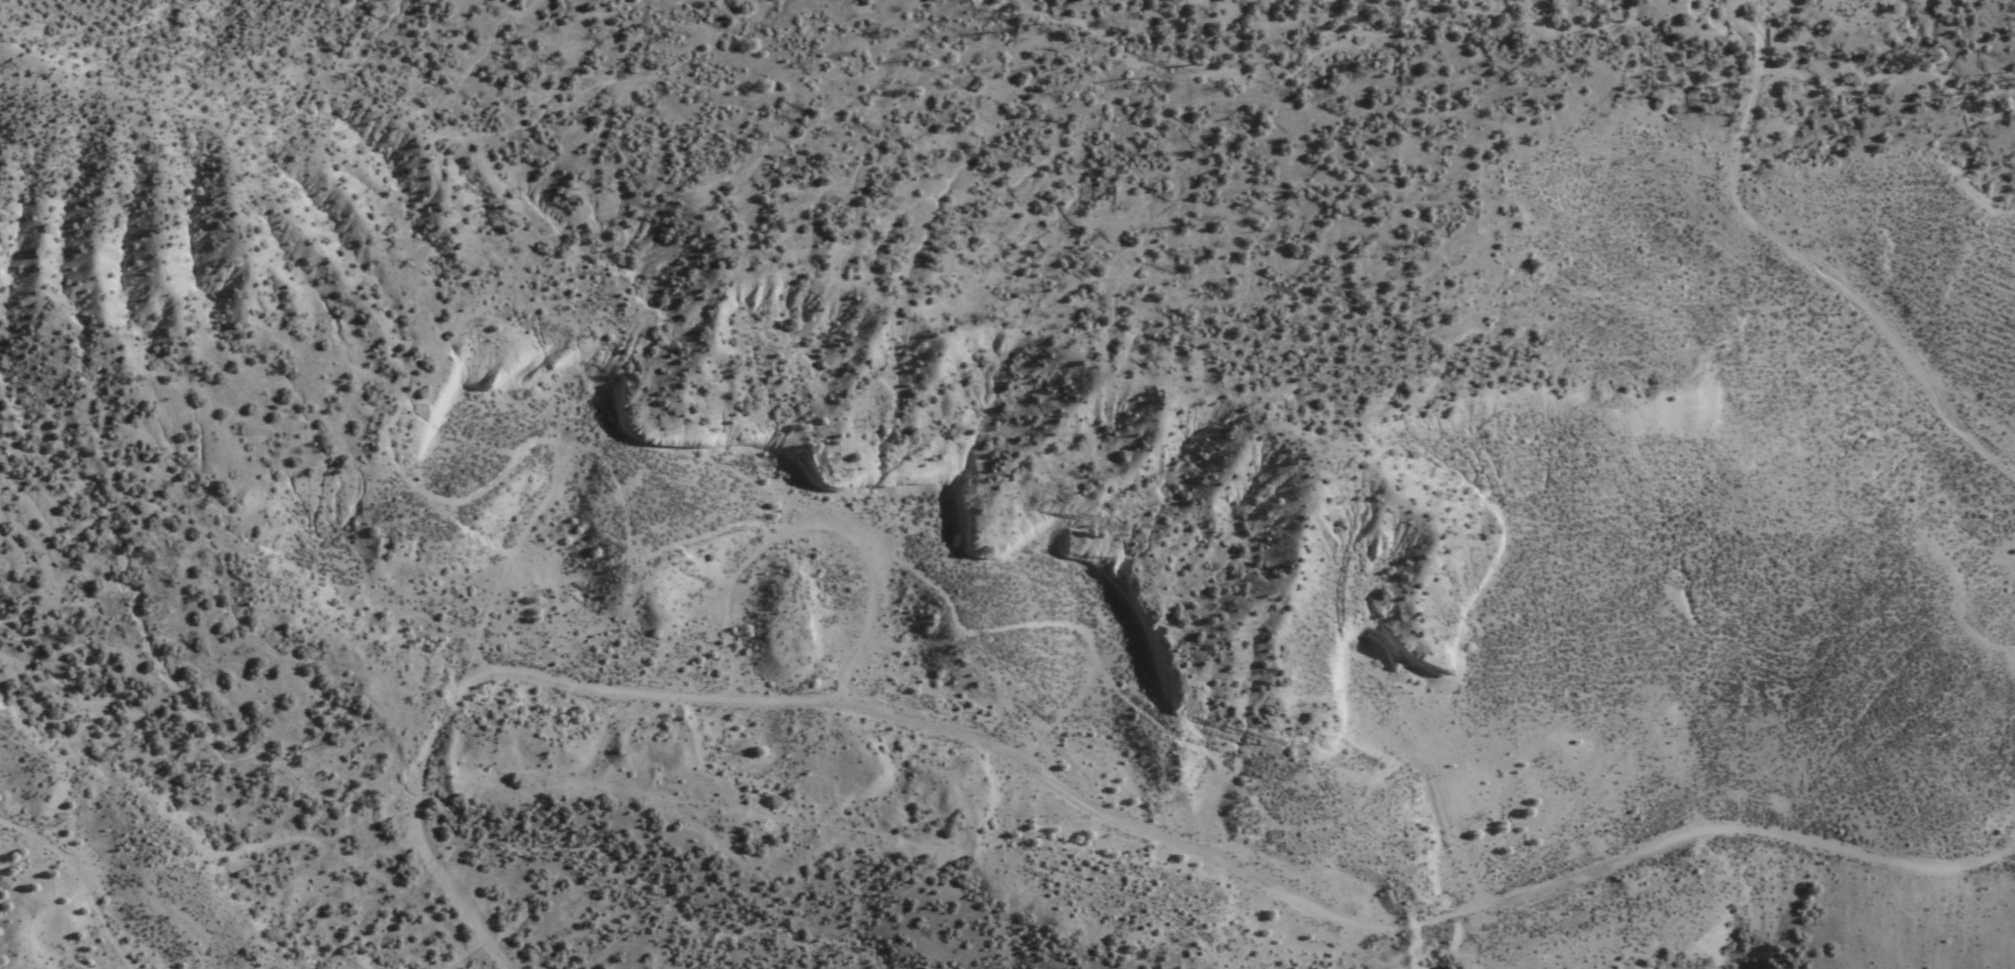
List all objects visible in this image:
road: (1084, 808)

